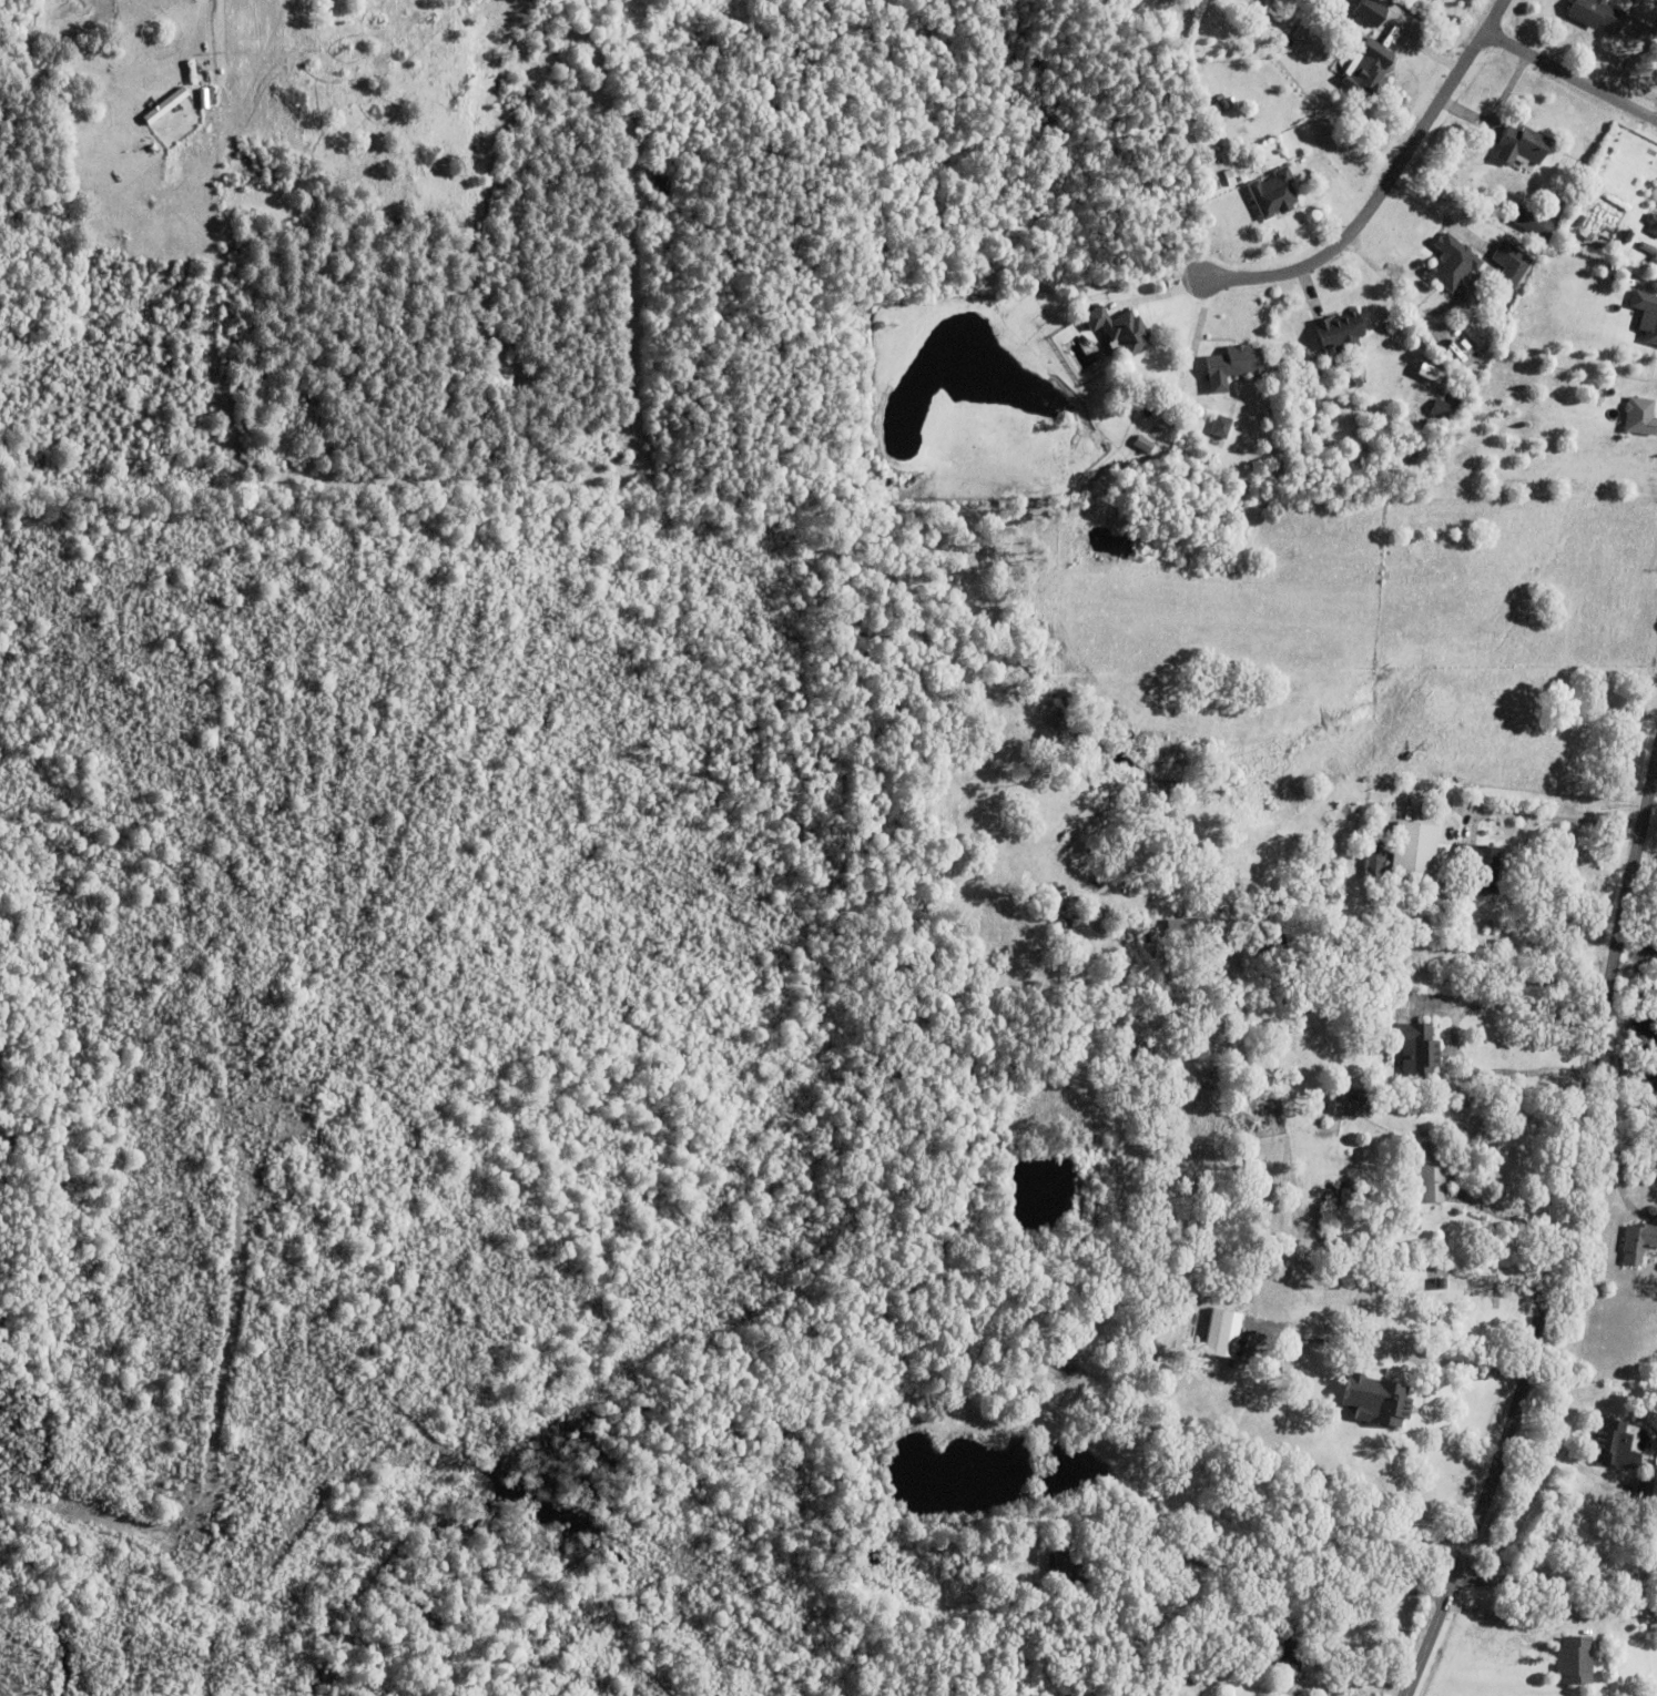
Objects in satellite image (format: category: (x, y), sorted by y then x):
building: (1319, 2)
building: (1370, 12)
road: (1497, 13)
building: (1267, 16)
building: (1597, 16)
road: (201, 17)
building: (1370, 70)
road: (1574, 71)
building: (204, 99)
building: (166, 105)
building: (1223, 105)
building: (1522, 145)
building: (1274, 194)
road: (1376, 203)
building: (1535, 224)
building: (1653, 225)
building: (1541, 244)
building: (1453, 263)
building: (1513, 264)
building: (1646, 315)
building: (1120, 331)
building: (1341, 332)
building: (1232, 367)
building: (1433, 373)
building: (1456, 402)
building: (1443, 412)
building: (1640, 417)
building: (1221, 427)
road: (1656, 754)
building: (1381, 843)
building: (1415, 860)
building: (1374, 866)
building: (1483, 867)
building: (1187, 925)
building: (1271, 946)
building: (1420, 1055)
building: (1132, 1058)
road: (1521, 1069)
building: (1355, 1081)
building: (1350, 1109)
building: (1432, 1174)
building: (1362, 1199)
road: (1504, 1213)
road: (1557, 1227)
building: (1638, 1246)
building: (1432, 1271)
building: (1442, 1287)
building: (1497, 1309)
building: (1226, 1332)
building: (1385, 1405)
building: (1643, 1416)
building: (1615, 1449)
road: (1561, 1459)
building: (1644, 1492)
building: (1435, 1544)
building: (1064, 1564)
road: (1556, 1580)
building: (1391, 1585)
building: (1651, 1622)
building: (1290, 1624)
building: (1289, 1654)
building: (1139, 1661)
building: (1576, 1664)

